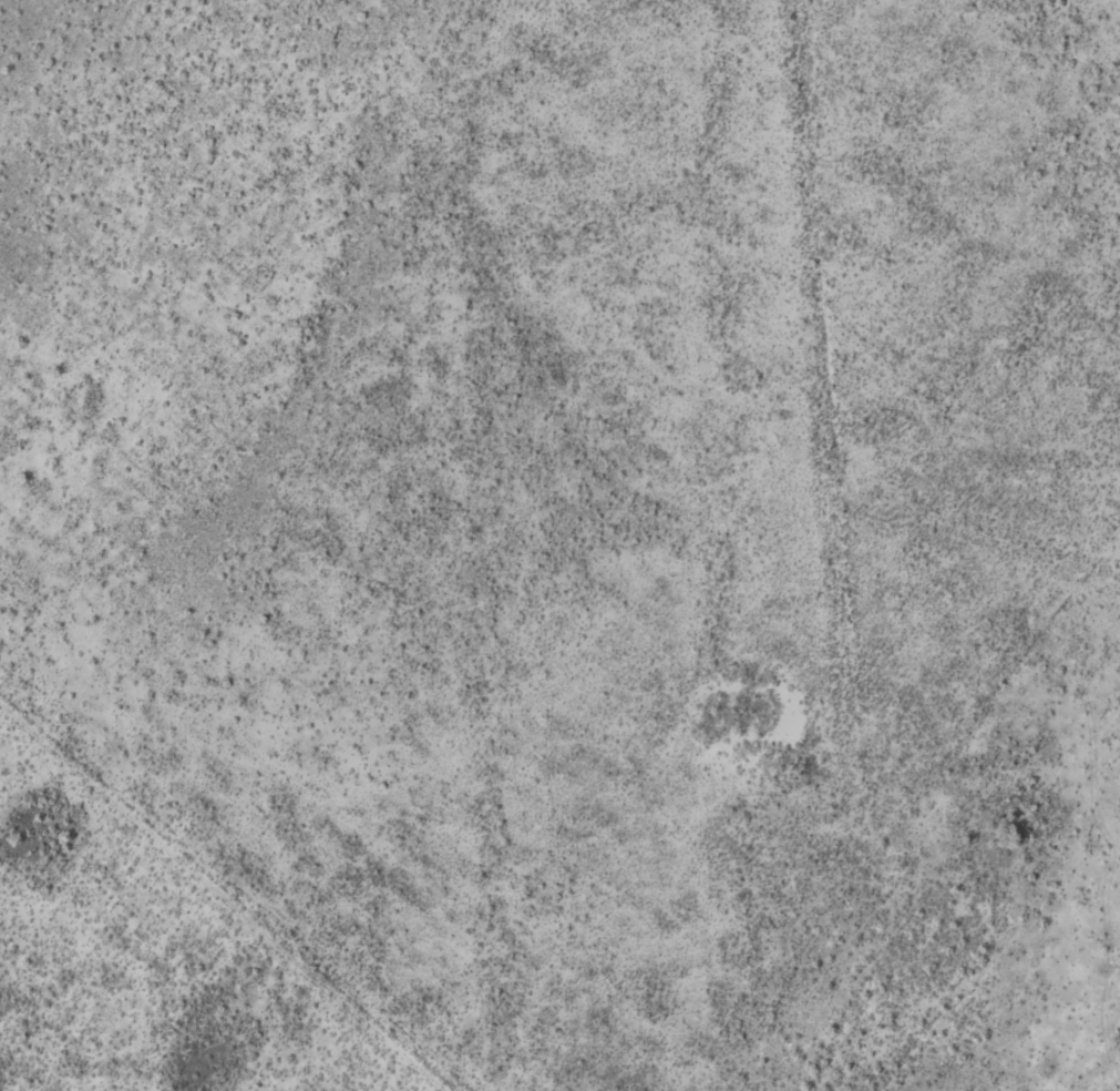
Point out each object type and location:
road: (224, 896)

